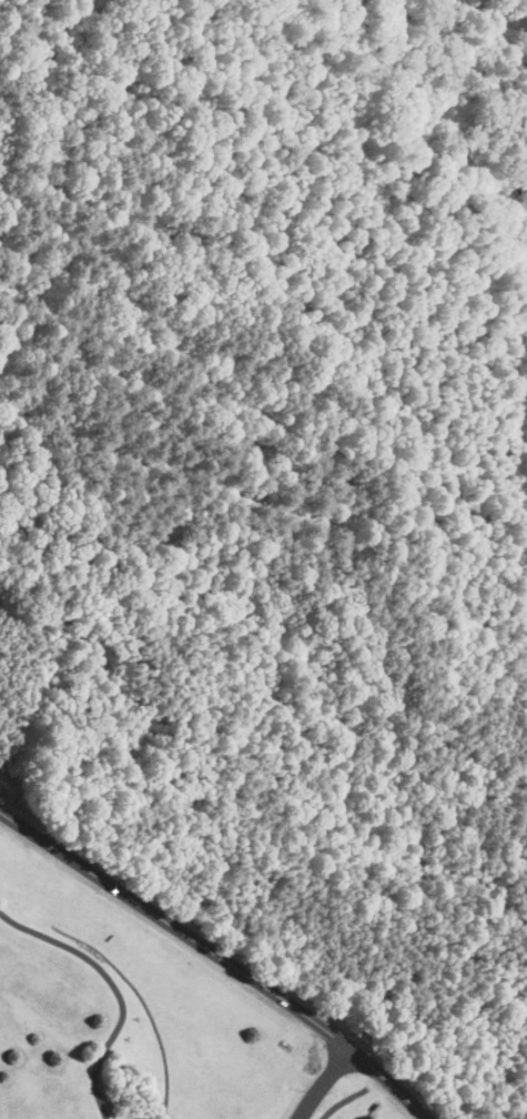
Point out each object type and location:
road: (219, 957)
road: (113, 989)
park: (139, 1025)
road: (324, 1082)
road: (343, 1102)

